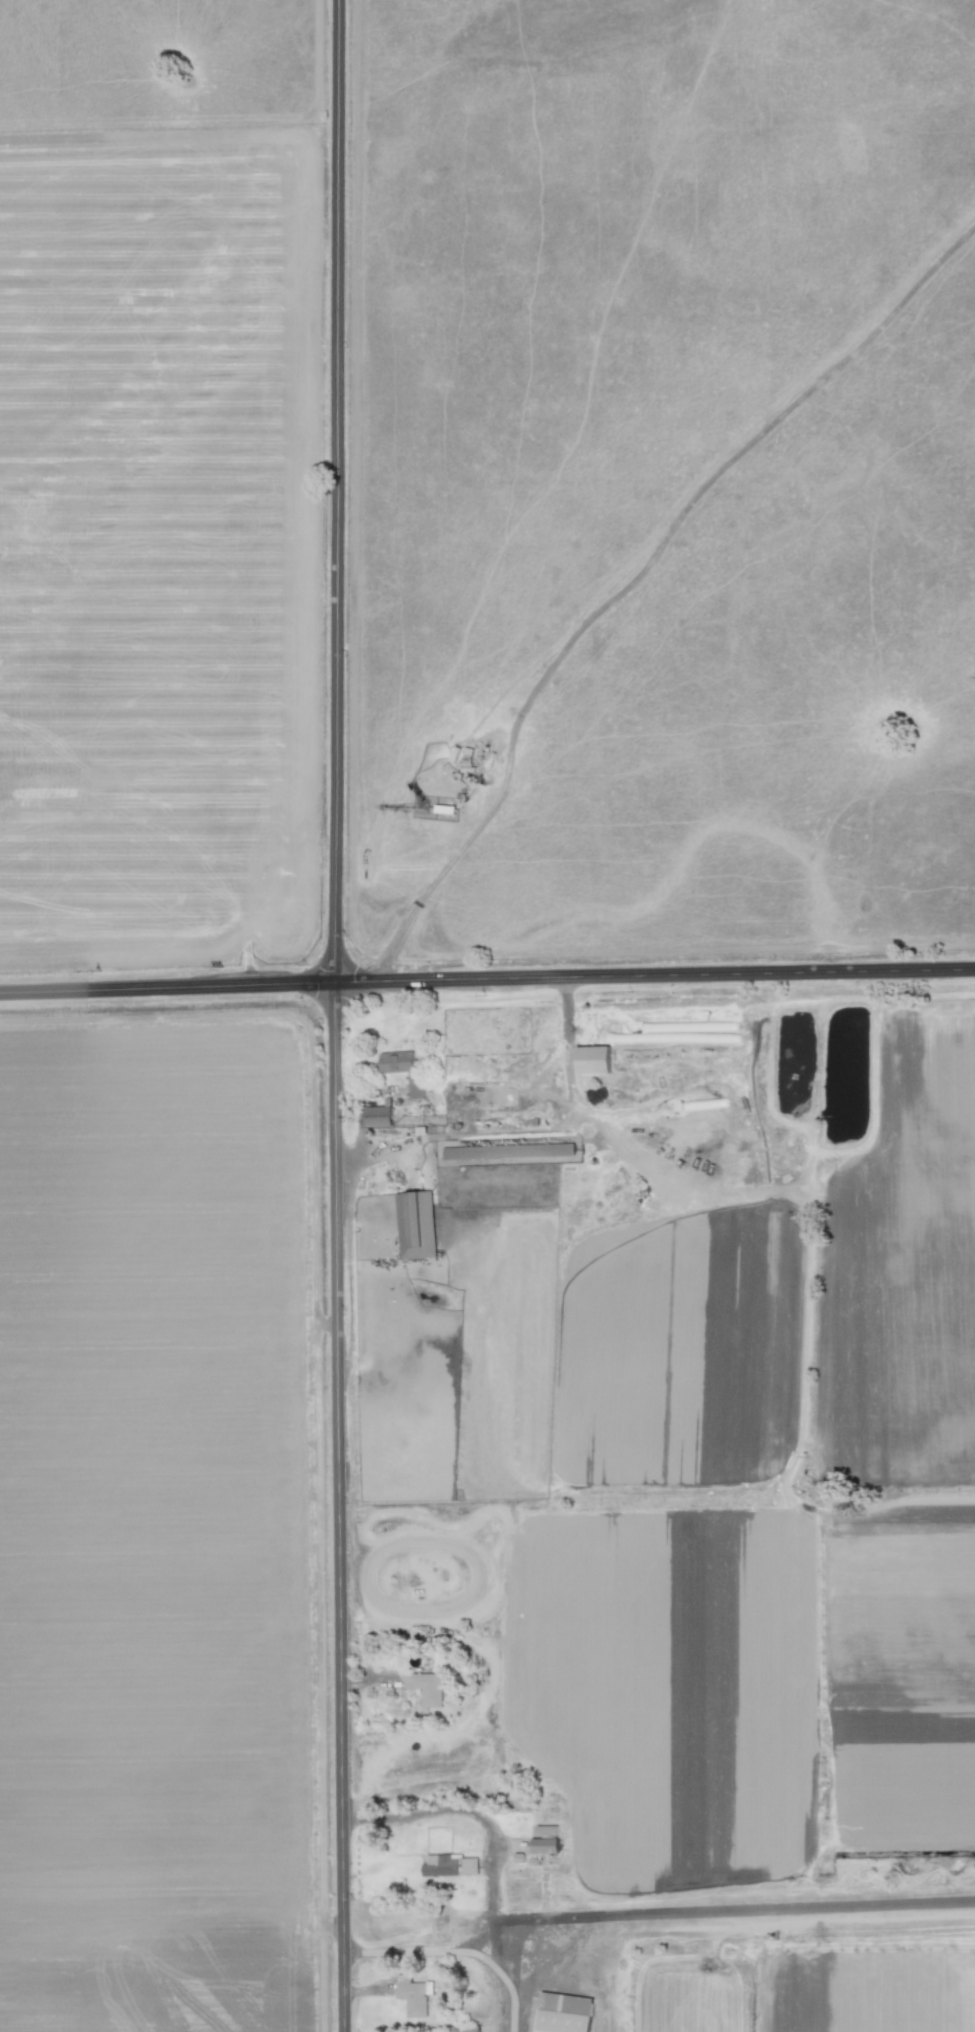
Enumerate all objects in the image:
road: (444, 868)
road: (487, 981)
road: (336, 1016)
building: (592, 1060)
building: (403, 1069)
road: (574, 1095)
building: (377, 1117)
building: (513, 1151)
building: (415, 1225)
building: (428, 1689)
road: (481, 1826)
building: (544, 1846)
building: (449, 1866)
airport runway: (769, 1907)
road: (457, 1952)
building: (414, 1998)
building: (563, 2013)

